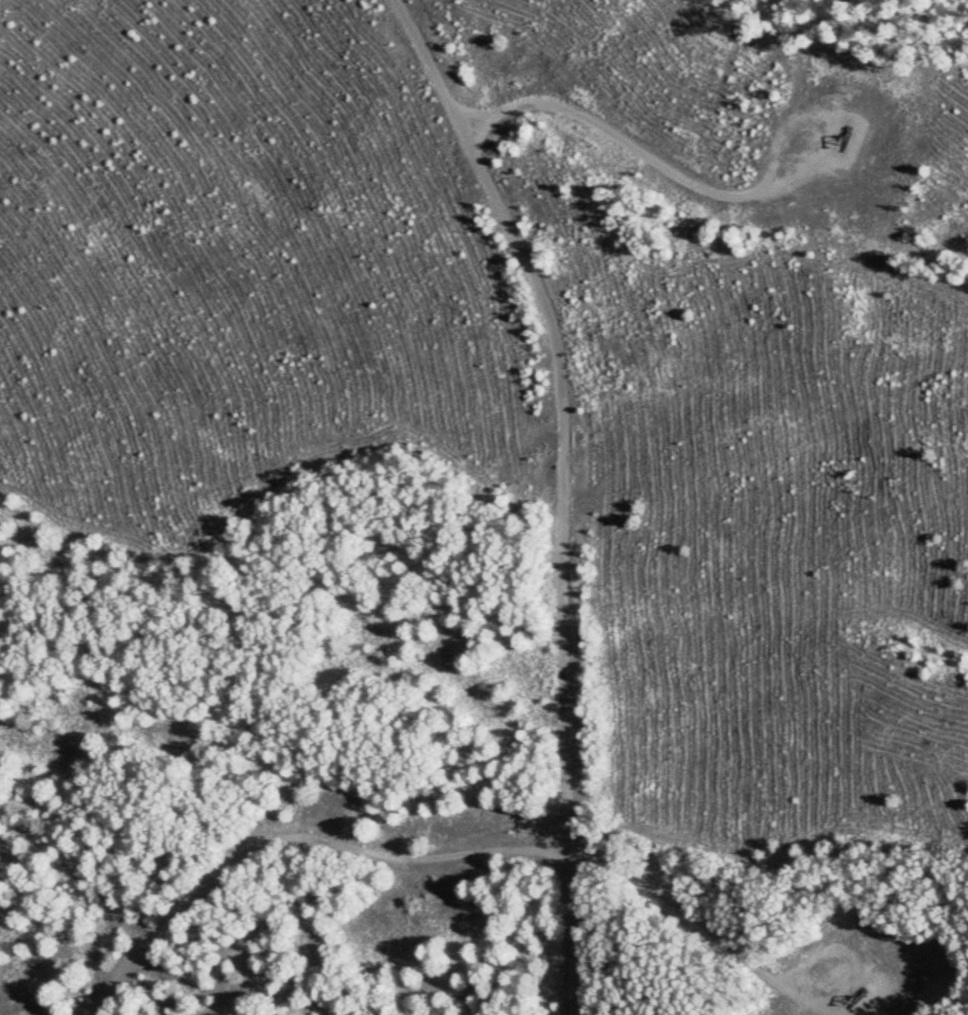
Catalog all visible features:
petroleum well: (846, 137)
road: (627, 144)
road: (567, 488)
road: (412, 857)
petroleum well: (847, 1001)

